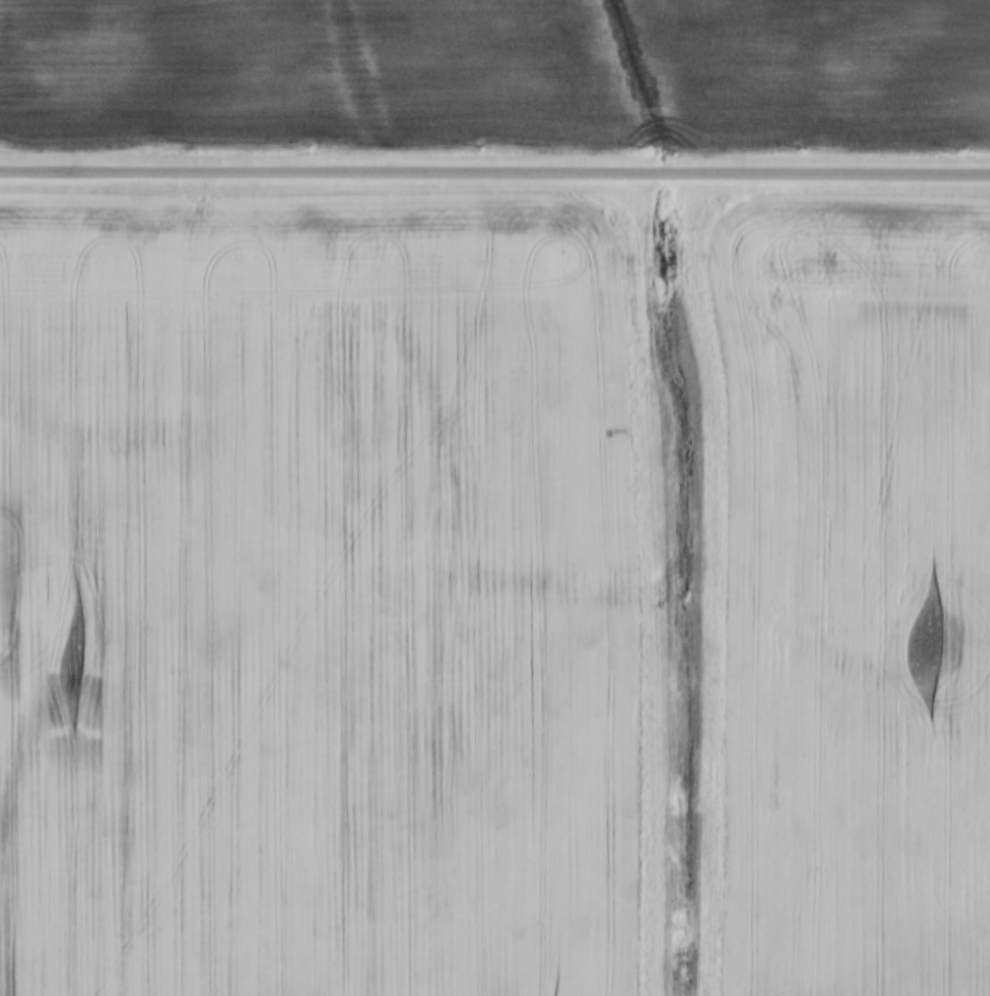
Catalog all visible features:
road: (494, 172)

